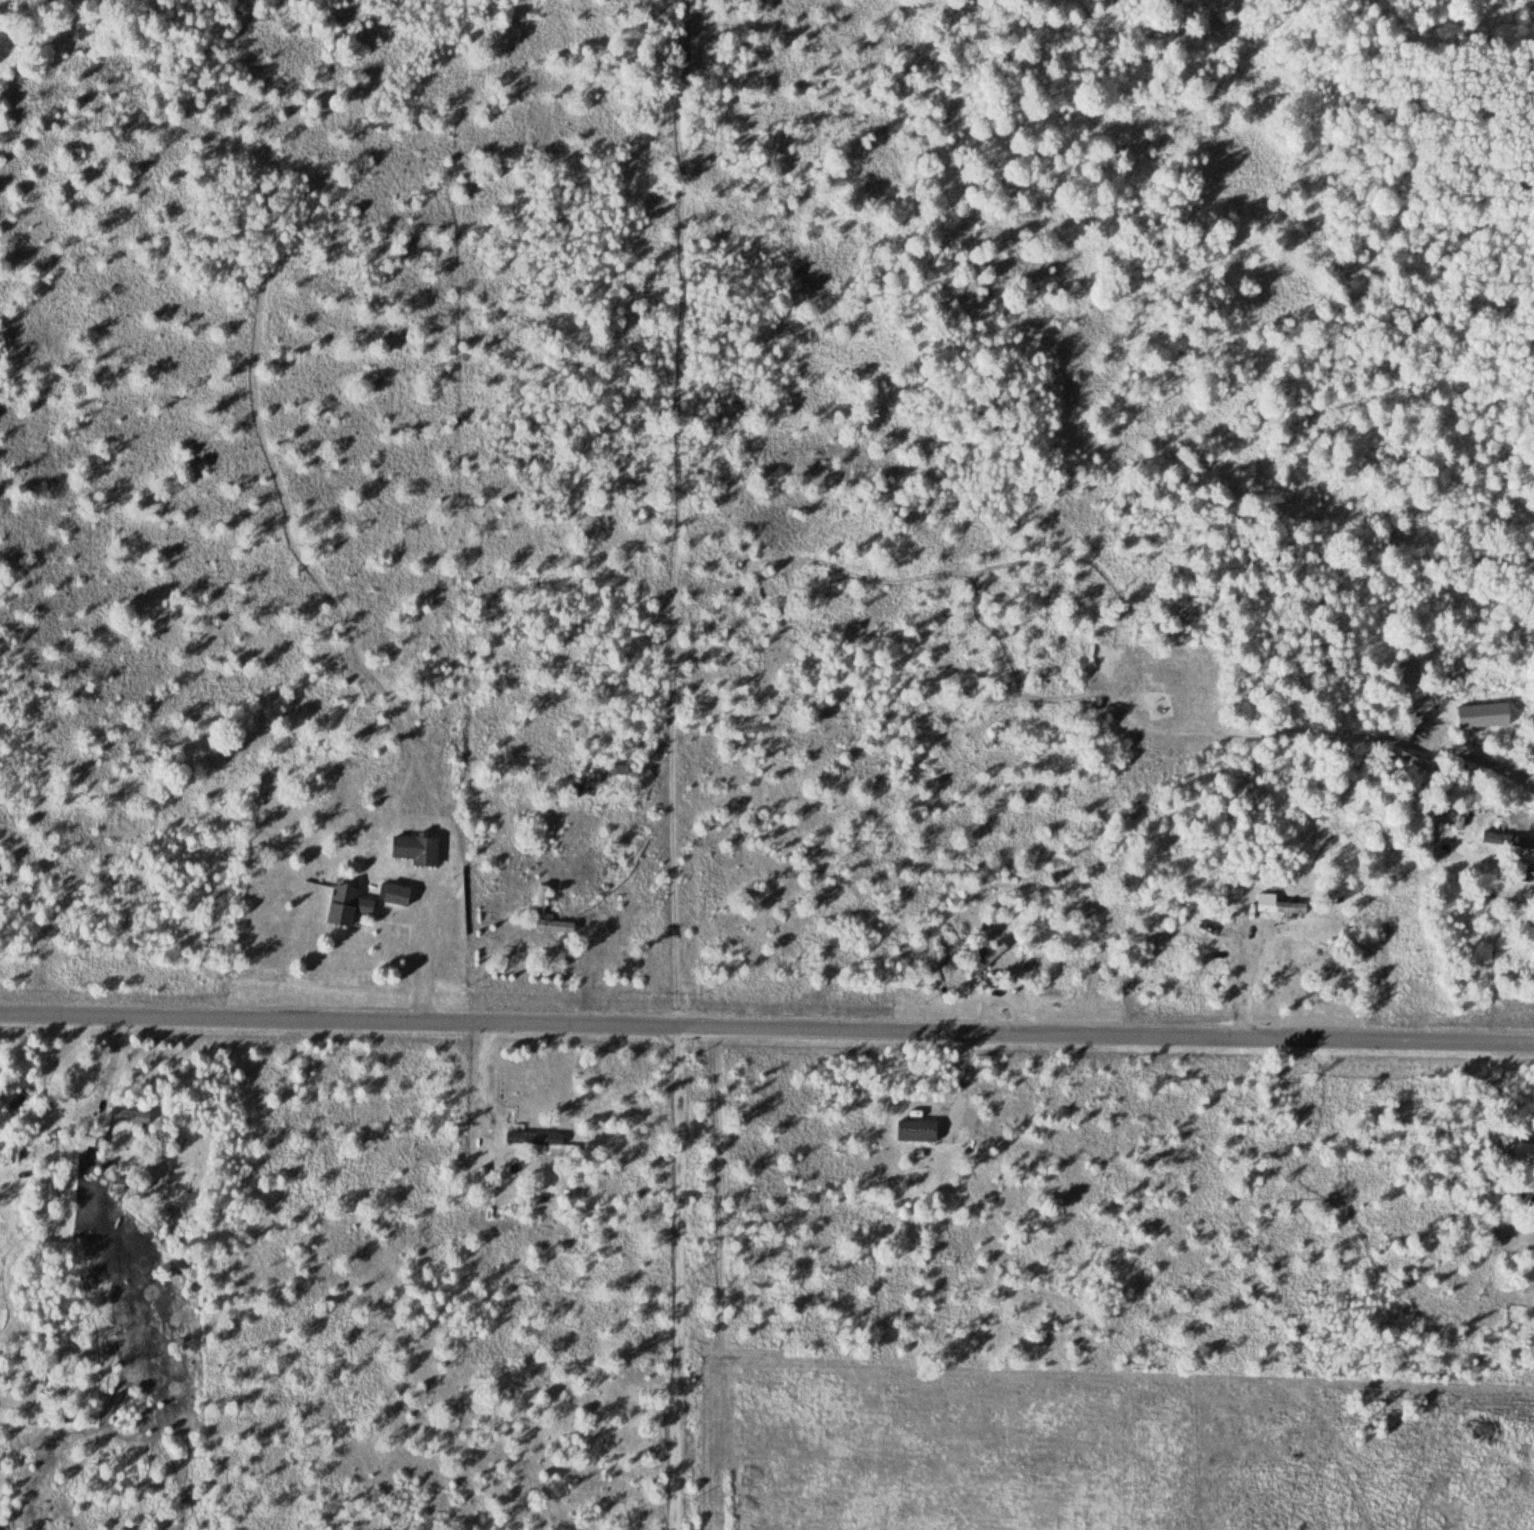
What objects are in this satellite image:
building: (1415, 722)
building: (618, 770)
building: (1507, 839)
building: (414, 850)
building: (395, 895)
building: (541, 901)
building: (1276, 904)
building: (344, 906)
building: (986, 957)
road: (767, 1031)
building: (127, 1114)
building: (915, 1131)
building: (532, 1138)
building: (12, 1154)
road: (679, 1279)

